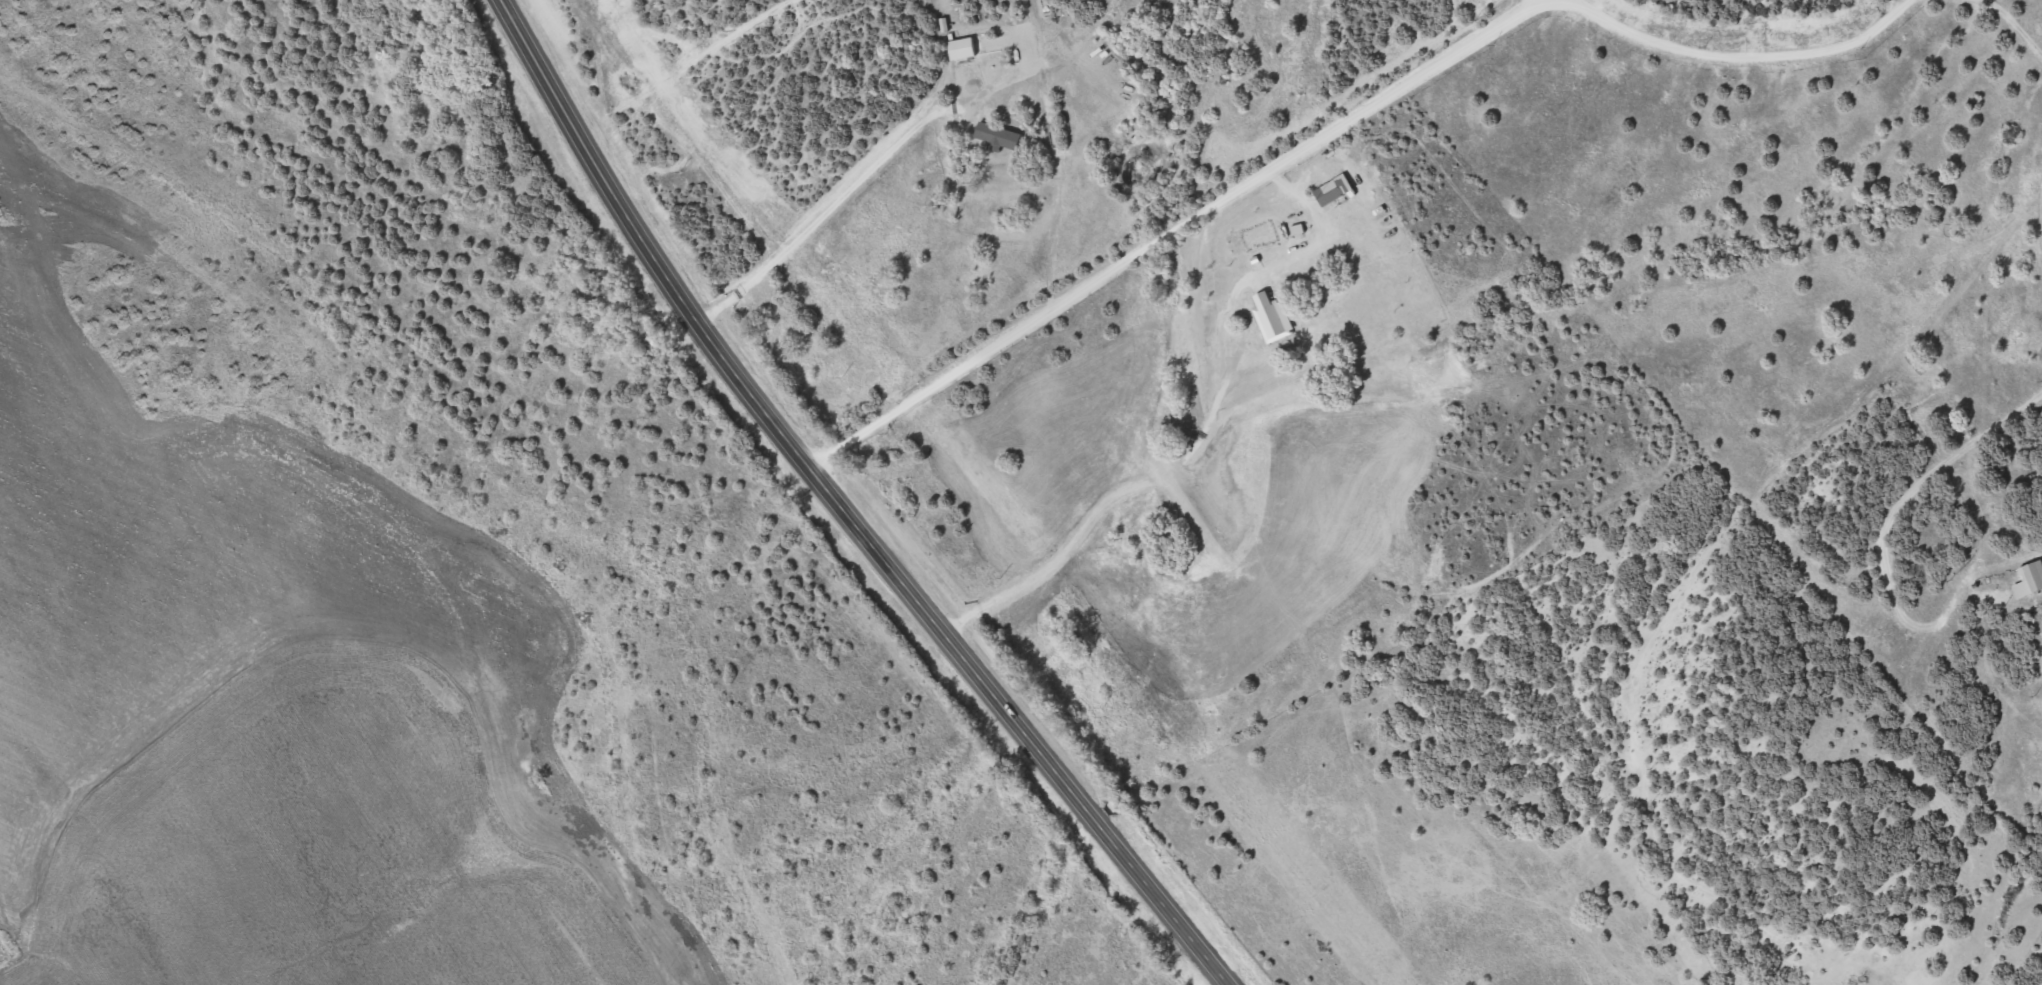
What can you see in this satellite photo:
building: (962, 46)
building: (998, 133)
building: (1329, 189)
building: (1269, 312)
road: (851, 507)
building: (2034, 573)
road: (1686, 592)

